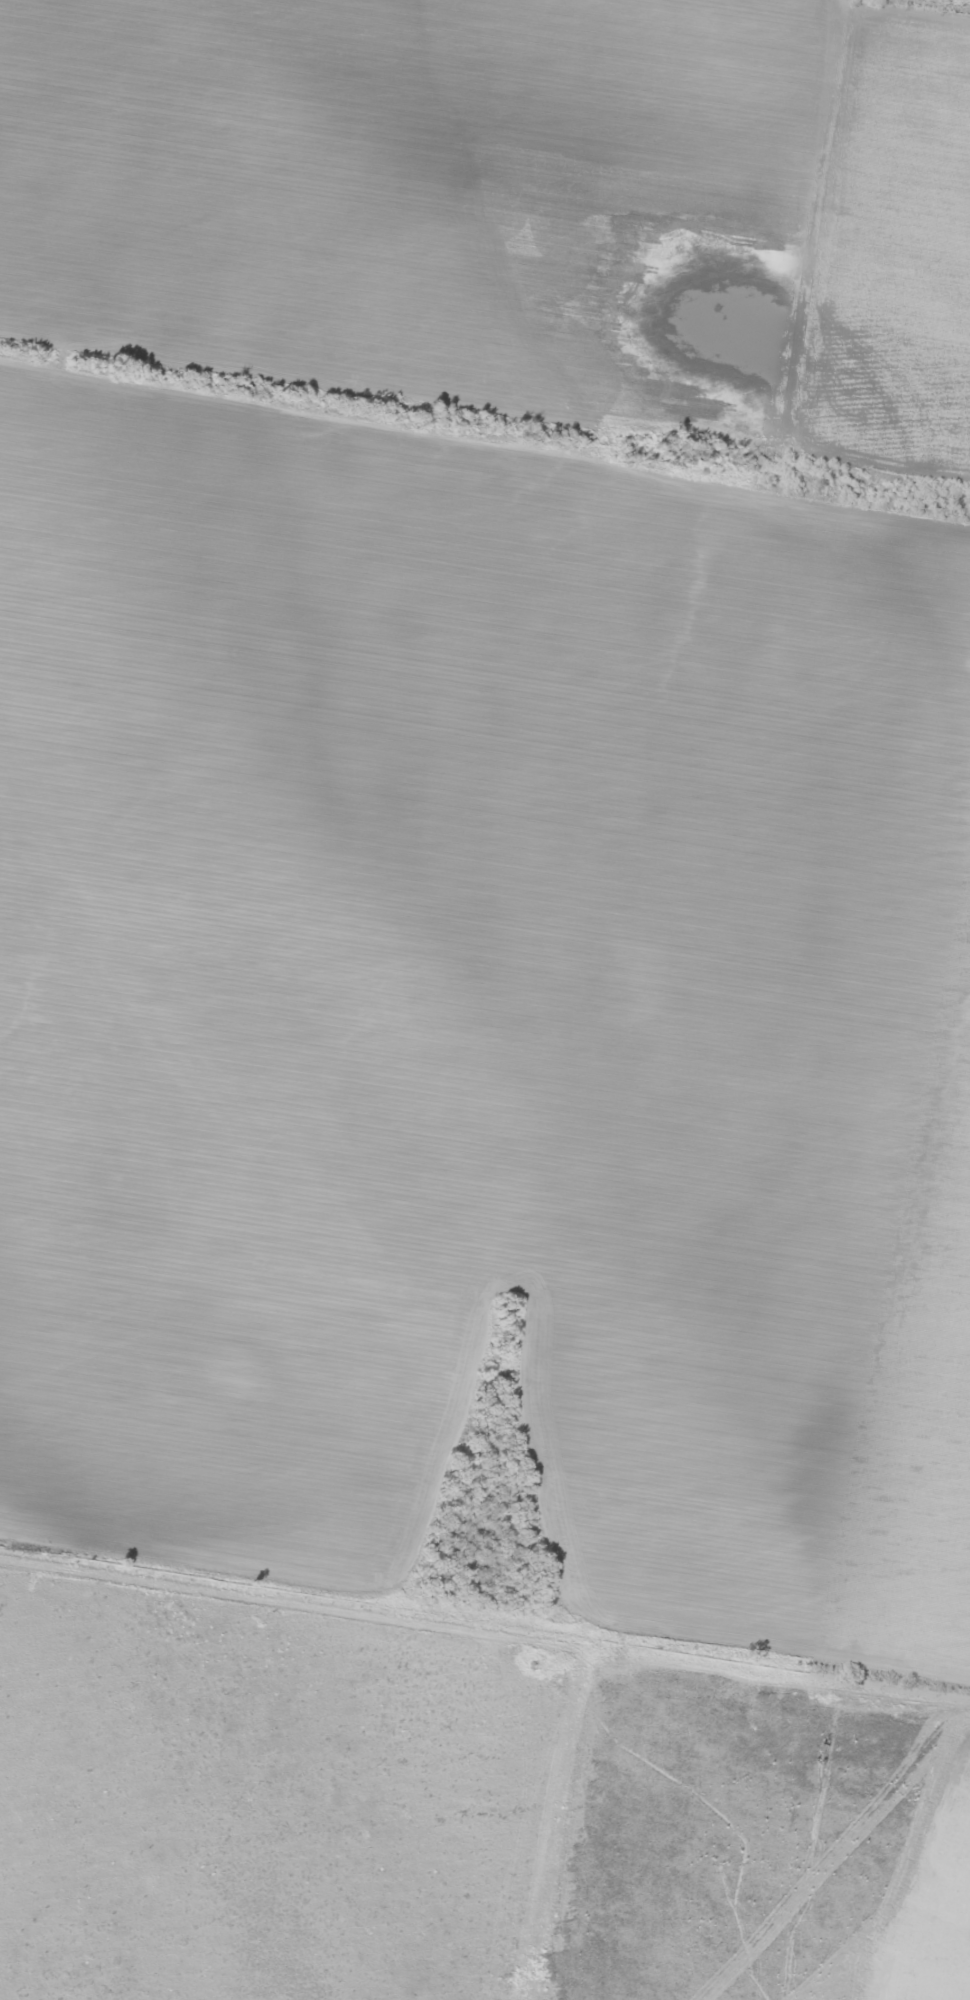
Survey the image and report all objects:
road: (485, 418)

